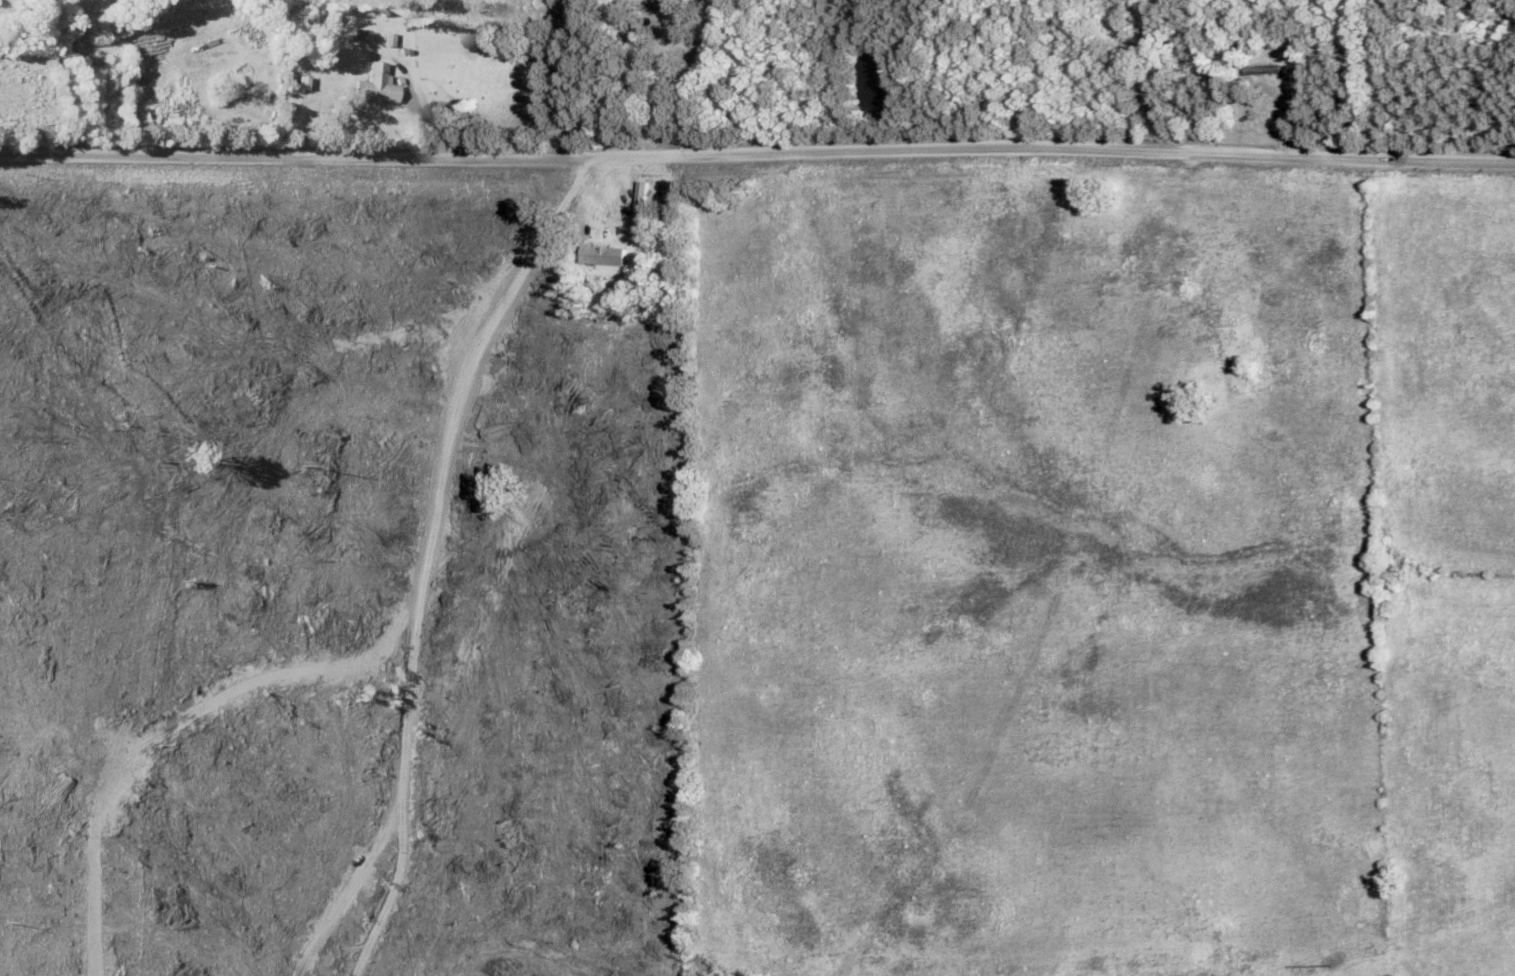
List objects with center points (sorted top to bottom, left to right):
building: (1264, 69)
road: (689, 72)
road: (62, 74)
road: (571, 78)
building: (380, 85)
road: (757, 152)
building: (638, 203)
building: (600, 255)
power tower: (1331, 965)

